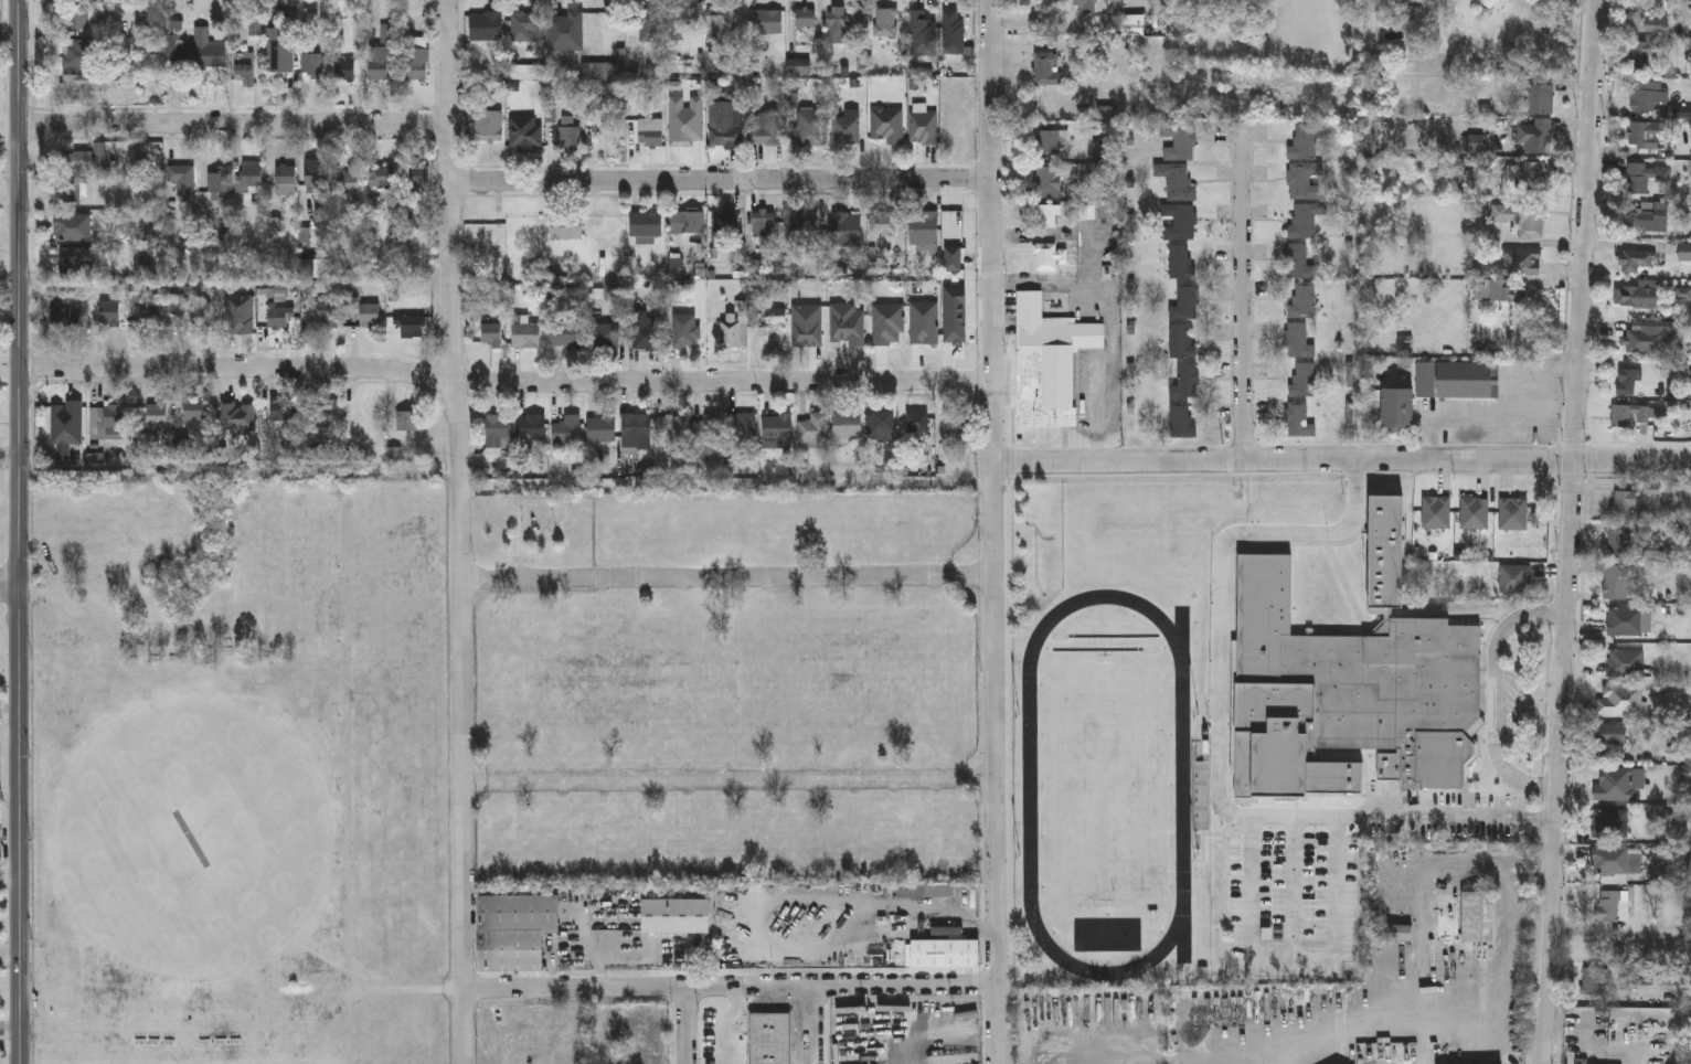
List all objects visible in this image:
building: (77, 0)
building: (1407, 2)
building: (1089, 7)
building: (74, 17)
building: (805, 19)
building: (683, 20)
building: (719, 20)
building: (765, 22)
building: (885, 22)
building: (838, 24)
building: (486, 26)
building: (524, 26)
building: (647, 26)
building: (923, 30)
building: (953, 31)
building: (565, 32)
building: (1646, 41)
building: (74, 51)
building: (279, 51)
building: (195, 52)
building: (382, 54)
building: (1047, 62)
building: (414, 65)
building: (311, 66)
building: (243, 71)
building: (343, 71)
building: (79, 85)
building: (1647, 94)
building: (1542, 97)
road: (233, 125)
building: (723, 125)
building: (886, 125)
building: (485, 127)
building: (923, 127)
building: (768, 128)
building: (810, 128)
building: (845, 130)
building: (650, 132)
building: (1645, 132)
building: (525, 134)
building: (1538, 135)
building: (568, 138)
building: (1307, 139)
building: (1049, 141)
building: (1180, 141)
building: (83, 162)
building: (251, 173)
building: (182, 177)
building: (382, 177)
building: (1530, 177)
building: (1636, 177)
building: (316, 178)
building: (1305, 179)
building: (216, 180)
building: (285, 180)
building: (418, 181)
building: (1049, 181)
building: (1178, 181)
building: (348, 182)
road: (721, 185)
building: (70, 191)
building: (1646, 214)
building: (1046, 217)
building: (1306, 219)
building: (1522, 219)
building: (724, 220)
building: (805, 220)
building: (1180, 221)
building: (687, 223)
building: (763, 223)
building: (881, 223)
building: (646, 225)
building: (71, 227)
building: (565, 227)
building: (923, 227)
building: (845, 230)
building: (1053, 256)
building: (1634, 256)
building: (70, 259)
building: (1181, 260)
building: (1298, 260)
building: (1522, 262)
building: (1501, 290)
building: (1636, 294)
road: (1243, 298)
building: (1304, 298)
building: (1187, 302)
building: (191, 308)
building: (109, 313)
building: (149, 313)
building: (237, 313)
building: (327, 313)
building: (61, 315)
building: (368, 315)
building: (278, 317)
building: (775, 317)
building: (413, 326)
building: (684, 330)
building: (645, 332)
building: (730, 333)
building: (525, 334)
building: (491, 336)
building: (565, 336)
building: (602, 336)
building: (1647, 338)
building: (1299, 340)
building: (1181, 341)
building: (1049, 365)
building: (1304, 379)
building: (1627, 380)
building: (1187, 381)
road: (507, 383)
building: (1439, 387)
building: (279, 409)
building: (194, 411)
building: (1631, 413)
building: (156, 414)
building: (328, 415)
building: (106, 419)
building: (1299, 419)
building: (407, 421)
building: (954, 421)
building: (1182, 421)
building: (917, 422)
building: (880, 424)
building: (744, 425)
building: (847, 425)
building: (670, 426)
building: (64, 427)
building: (706, 427)
building: (600, 428)
building: (776, 428)
building: (812, 428)
building: (498, 430)
building: (530, 430)
building: (566, 430)
building: (636, 430)
building: (143, 445)
road: (8, 456)
road: (1342, 461)
building: (1623, 504)
building: (1436, 512)
building: (1474, 513)
building: (1512, 513)
road: (17, 531)
road: (459, 531)
road: (996, 531)
road: (1570, 531)
building: (1620, 543)
road: (528, 578)
road: (796, 578)
building: (1513, 578)
building: (1616, 582)
road: (8, 586)
building: (1629, 621)
building: (1626, 664)
building: (1351, 687)
road: (1496, 694)
building: (1620, 700)
building: (1610, 735)
road: (1222, 740)
road: (469, 783)
road: (726, 783)
road: (986, 784)
building: (1616, 785)
track: (1030, 792)
building: (1609, 823)
building: (1609, 861)
road: (1295, 887)
building: (938, 891)
road: (1336, 906)
road: (1247, 907)
building: (1608, 907)
building: (1477, 916)
building: (515, 930)
building: (946, 954)
building: (1594, 980)
road: (728, 989)
road: (1502, 990)
road: (815, 1025)
road: (685, 1026)
building: (770, 1039)
road: (1273, 1055)

